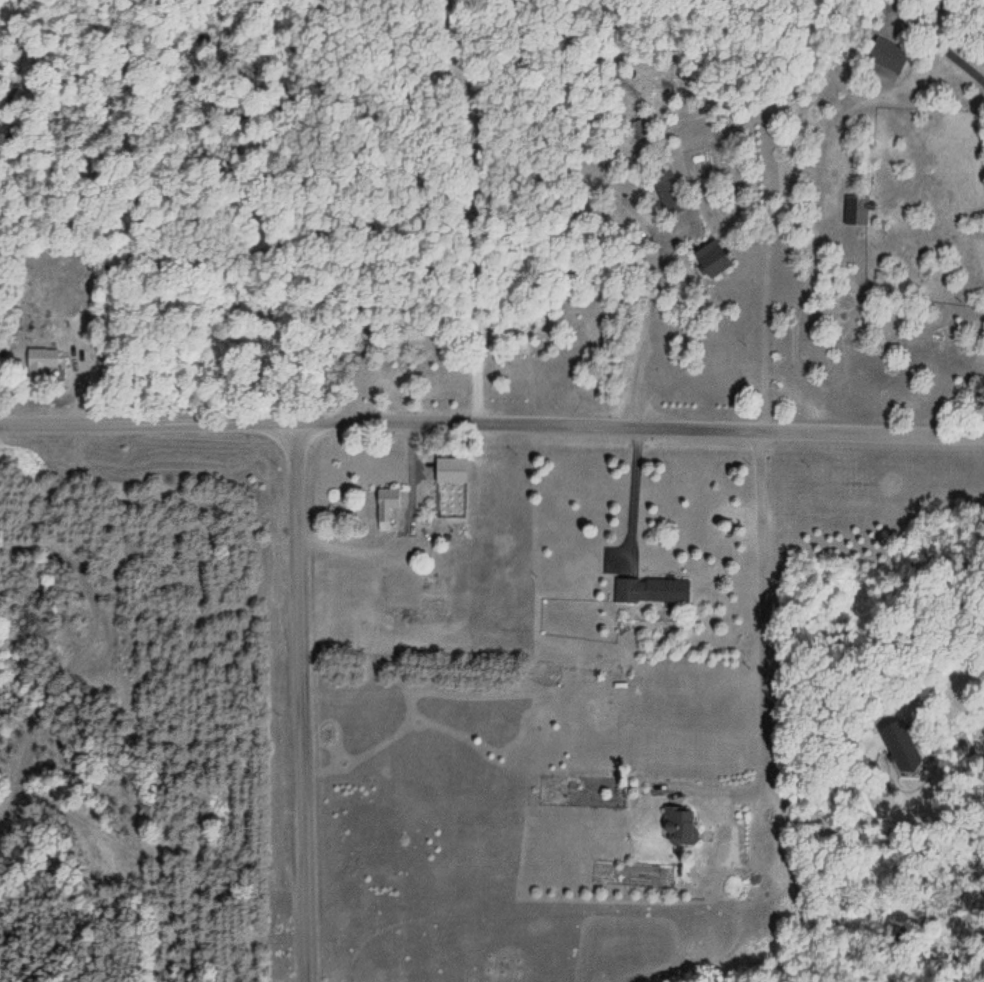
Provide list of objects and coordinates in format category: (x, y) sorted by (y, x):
building: (886, 54)
building: (668, 191)
building: (856, 211)
road: (712, 243)
building: (709, 260)
building: (42, 362)
road: (492, 427)
building: (449, 471)
building: (386, 507)
building: (653, 590)
road: (303, 702)
building: (916, 746)
building: (679, 827)

